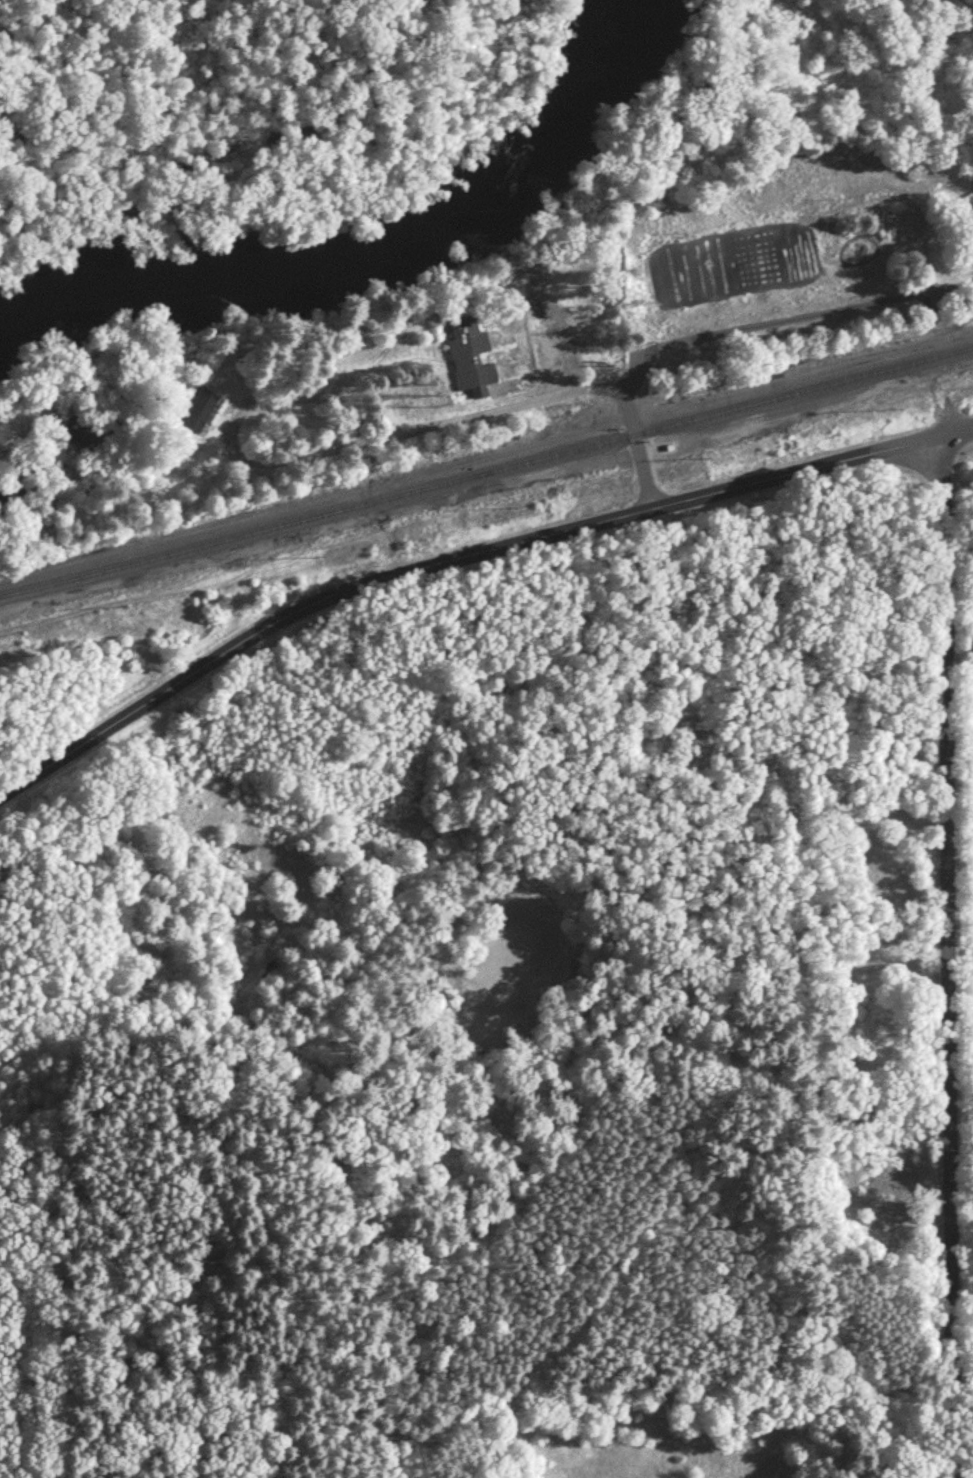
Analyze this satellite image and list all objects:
river: (368, 255)
building: (467, 355)
road: (554, 393)
road: (274, 399)
building: (196, 409)
road: (351, 412)
road: (958, 436)
road: (291, 458)
railway: (486, 470)
road: (447, 558)
road: (957, 662)
road: (945, 913)
road: (613, 1280)
road: (951, 1432)

